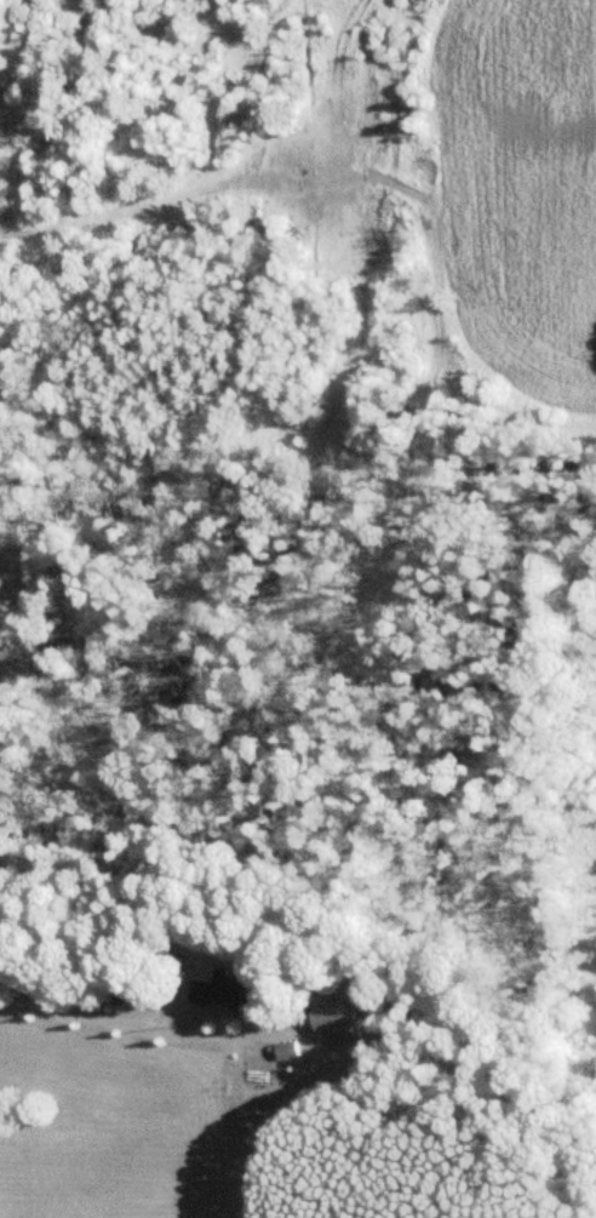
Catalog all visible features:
building: (236, 988)
building: (334, 1017)

